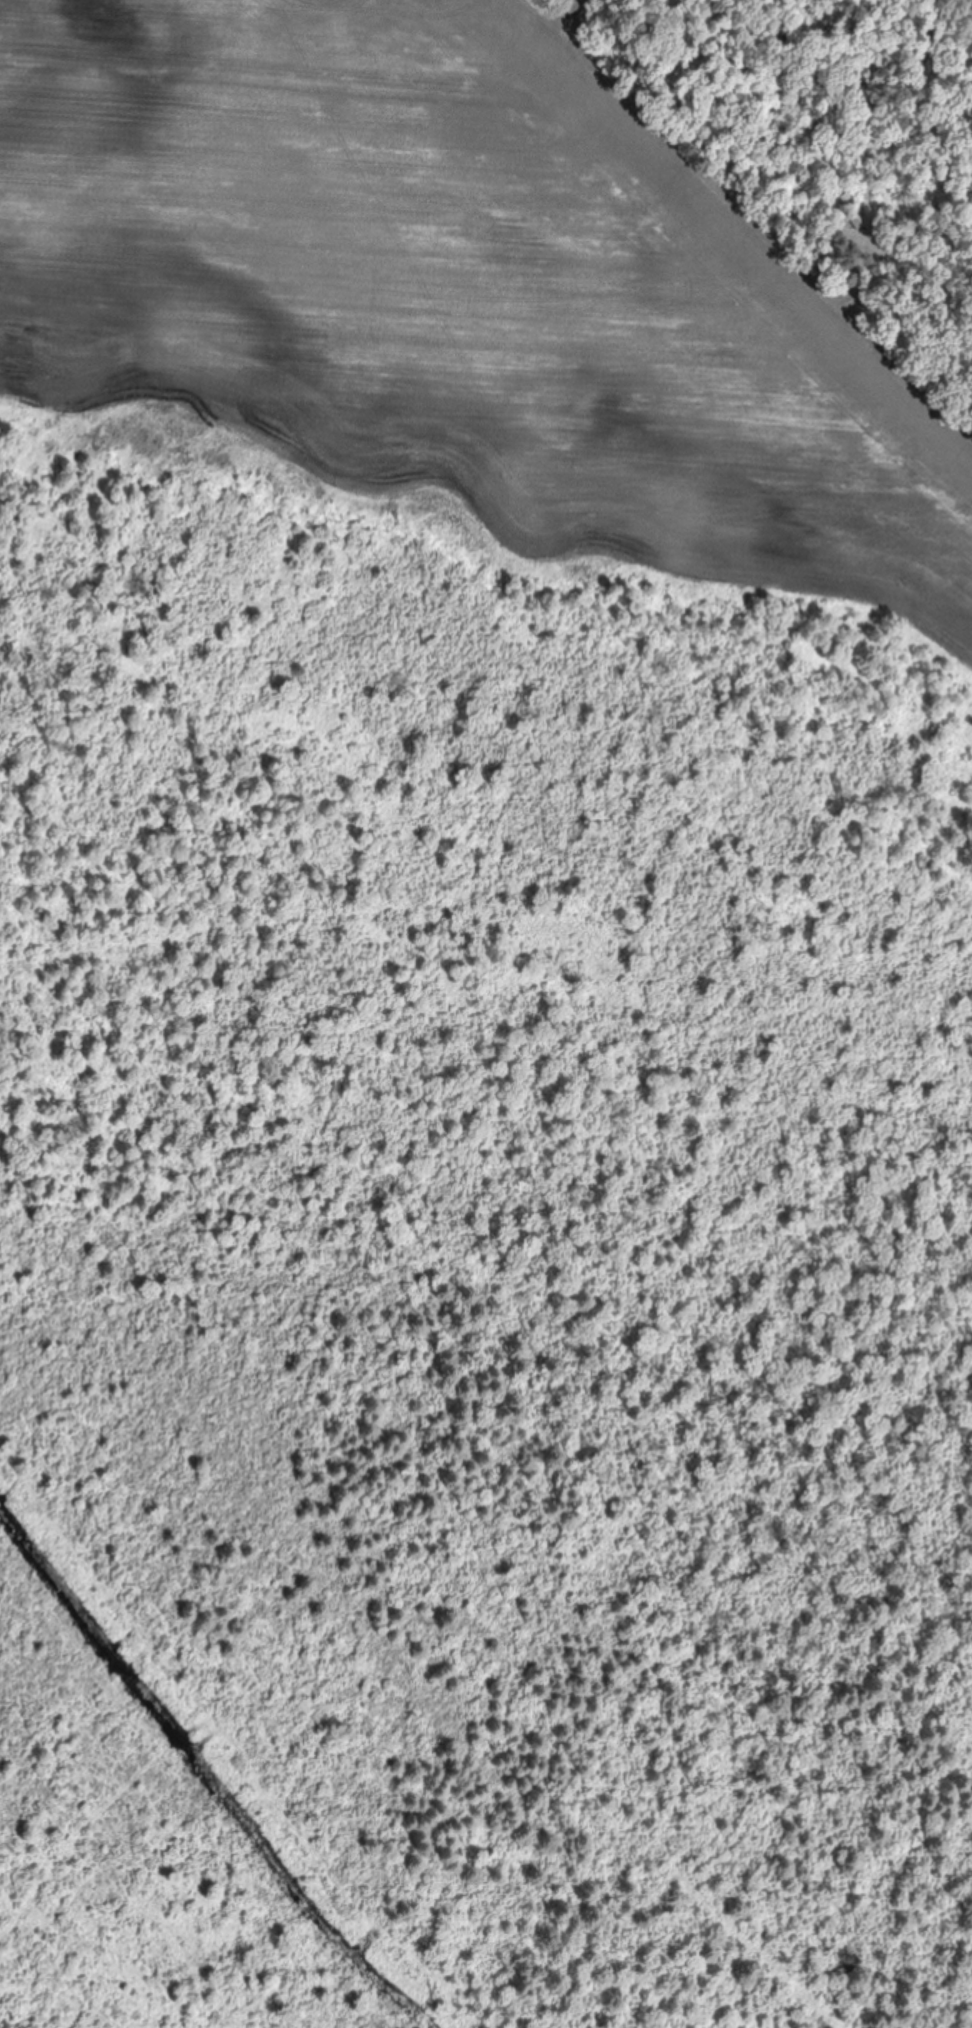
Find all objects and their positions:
building: (546, 0)
building: (857, 213)

